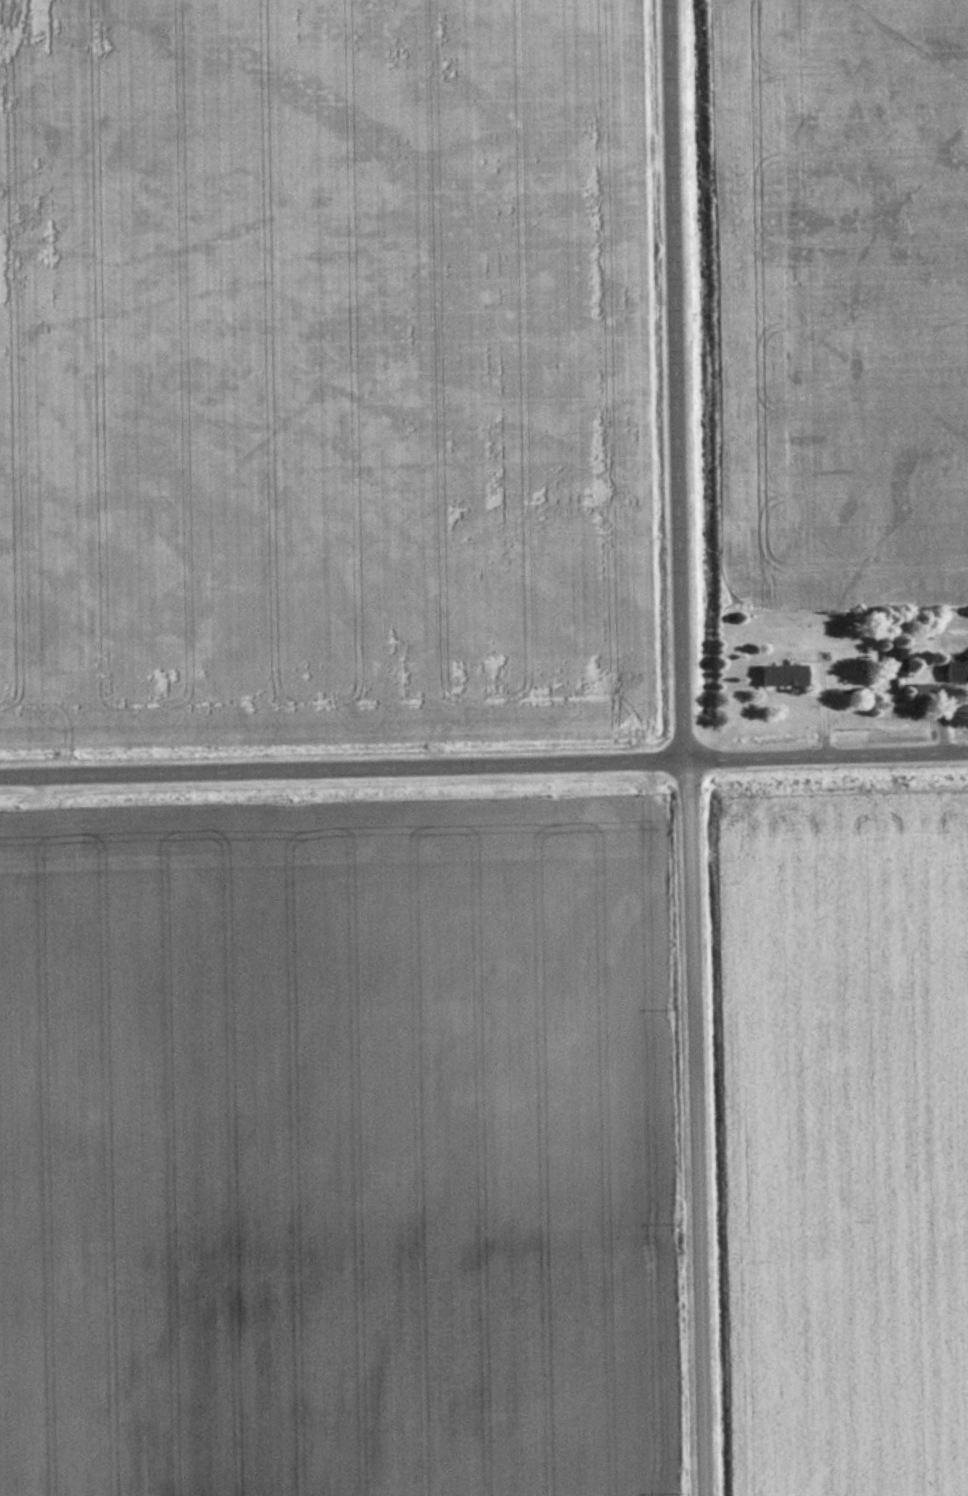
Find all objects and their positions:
building: (894, 661)
building: (957, 669)
building: (781, 675)
road: (684, 748)
road: (484, 755)

